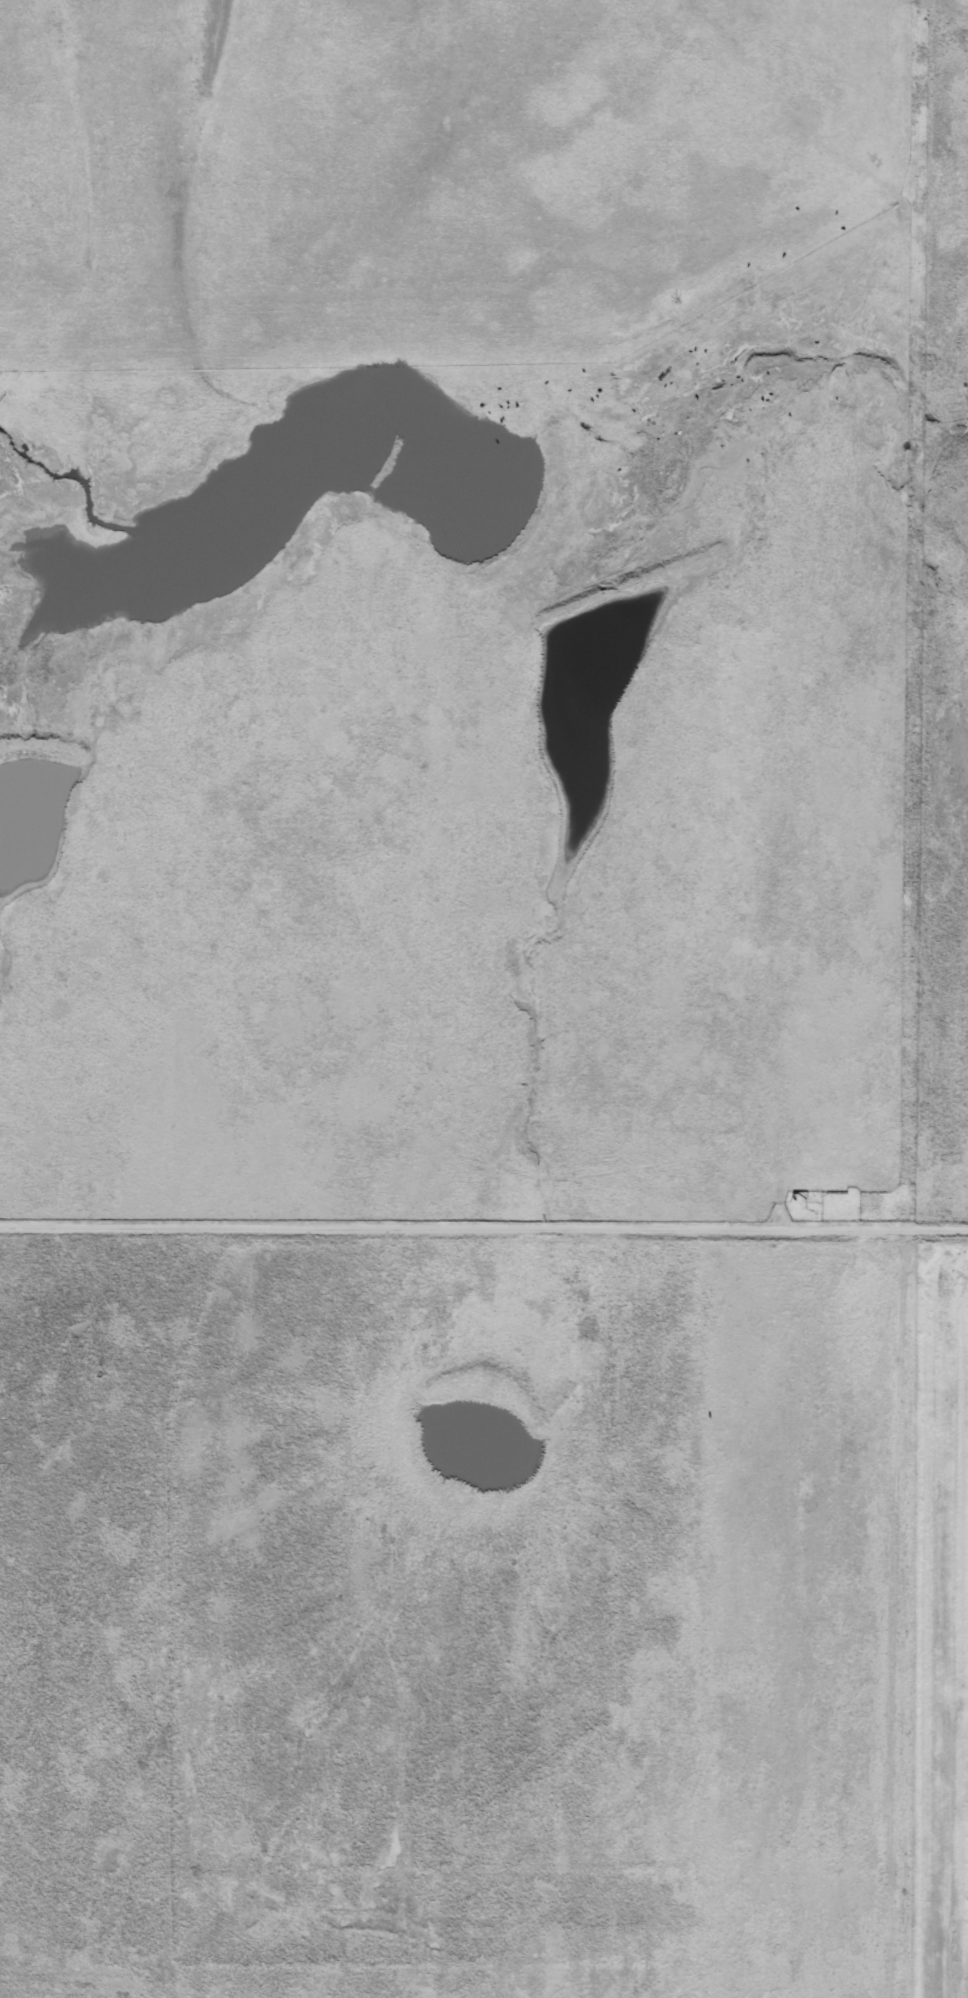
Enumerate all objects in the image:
road: (483, 1228)

